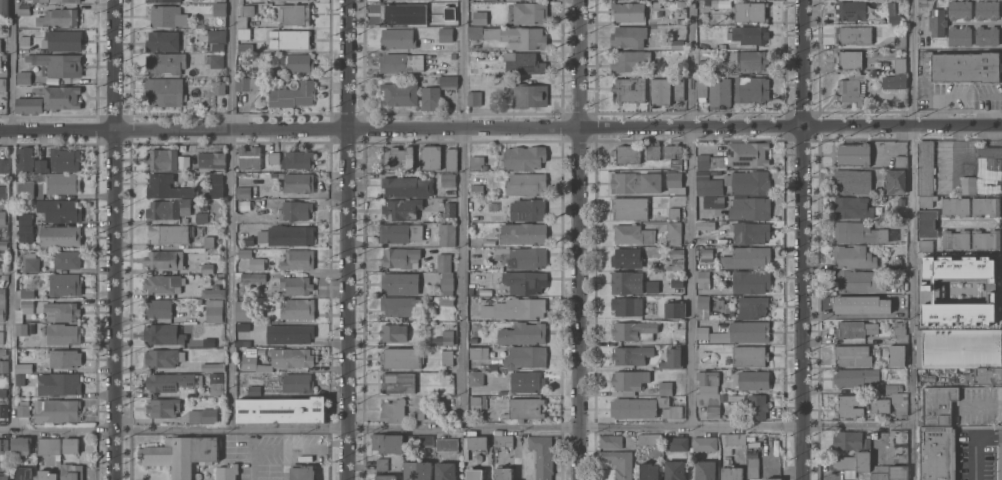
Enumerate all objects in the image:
building: (490, 0)
building: (56, 1)
building: (164, 1)
building: (653, 3)
building: (680, 3)
building: (4, 7)
building: (22, 9)
building: (219, 9)
building: (850, 9)
building: (959, 9)
building: (986, 9)
building: (627, 10)
building: (448, 11)
building: (528, 12)
building: (750, 12)
building: (892, 12)
building: (403, 13)
building: (294, 14)
building: (166, 15)
building: (244, 15)
building: (478, 16)
building: (677, 16)
building: (57, 17)
building: (937, 22)
building: (877, 31)
building: (243, 32)
building: (853, 33)
building: (958, 33)
building: (986, 33)
building: (444, 34)
building: (511, 35)
building: (750, 35)
building: (628, 36)
building: (216, 37)
building: (397, 37)
building: (61, 38)
building: (289, 38)
building: (22, 40)
building: (898, 40)
building: (162, 41)
building: (677, 43)
building: (959, 43)
building: (244, 46)
building: (452, 54)
building: (848, 58)
building: (213, 59)
building: (753, 59)
building: (0, 60)
building: (294, 60)
building: (628, 60)
building: (400, 62)
building: (522, 62)
building: (60, 63)
building: (163, 63)
building: (899, 64)
road: (912, 64)
building: (964, 64)
building: (703, 66)
building: (473, 70)
building: (20, 77)
building: (893, 79)
building: (446, 81)
building: (2, 83)
building: (246, 83)
building: (700, 84)
building: (218, 86)
building: (677, 86)
building: (628, 87)
building: (750, 87)
building: (849, 88)
building: (163, 90)
building: (658, 90)
building: (719, 91)
building: (398, 92)
building: (291, 93)
building: (527, 93)
building: (60, 95)
building: (429, 96)
building: (473, 97)
building: (28, 103)
road: (957, 129)
road: (456, 130)
building: (651, 149)
building: (670, 149)
building: (989, 150)
building: (625, 152)
building: (746, 152)
building: (852, 152)
building: (429, 155)
building: (248, 156)
building: (272, 156)
building: (397, 156)
building: (522, 156)
building: (23, 157)
building: (161, 157)
building: (210, 158)
building: (296, 158)
building: (450, 158)
building: (59, 159)
building: (475, 160)
building: (702, 160)
building: (899, 160)
building: (675, 163)
building: (3, 164)
building: (183, 164)
building: (483, 165)
building: (925, 166)
building: (214, 177)
building: (673, 178)
building: (447, 179)
building: (852, 179)
building: (894, 179)
building: (747, 180)
building: (61, 181)
building: (297, 181)
building: (634, 181)
building: (524, 182)
building: (708, 182)
building: (967, 183)
building: (405, 185)
building: (165, 186)
building: (27, 188)
building: (214, 189)
building: (475, 189)
building: (242, 190)
building: (2, 191)
building: (882, 197)
building: (924, 199)
building: (713, 201)
building: (244, 203)
building: (851, 205)
building: (954, 205)
building: (984, 205)
building: (629, 206)
building: (167, 207)
building: (400, 207)
building: (749, 207)
building: (294, 208)
building: (526, 208)
building: (58, 209)
building: (446, 210)
building: (672, 211)
road: (463, 214)
road: (690, 214)
road: (12, 215)
building: (200, 215)
road: (230, 215)
building: (2, 216)
building: (23, 217)
building: (926, 221)
building: (704, 224)
building: (398, 231)
building: (750, 231)
building: (857, 231)
building: (24, 232)
building: (169, 232)
building: (521, 232)
building: (631, 232)
building: (673, 232)
building: (445, 233)
building: (58, 234)
building: (286, 234)
building: (954, 237)
building: (985, 237)
road: (112, 240)
building: (207, 240)
road: (344, 240)
road: (579, 240)
road: (801, 240)
building: (3, 243)
building: (924, 244)
building: (705, 250)
building: (501, 253)
building: (629, 255)
building: (852, 255)
building: (401, 256)
building: (746, 256)
building: (526, 257)
building: (676, 257)
building: (703, 257)
building: (65, 258)
building: (163, 258)
building: (250, 258)
building: (297, 258)
building: (896, 260)
building: (443, 261)
building: (31, 263)
building: (1, 266)
building: (205, 266)
building: (877, 269)
building: (954, 270)
building: (3, 276)
building: (252, 276)
building: (701, 278)
building: (856, 280)
building: (524, 281)
building: (625, 281)
building: (749, 281)
building: (63, 282)
building: (161, 282)
building: (399, 282)
building: (445, 283)
building: (295, 284)
building: (676, 284)
building: (651, 286)
building: (470, 289)
building: (26, 292)
building: (212, 292)
building: (2, 293)
building: (484, 297)
building: (445, 299)
building: (718, 302)
building: (625, 304)
building: (848, 304)
road: (912, 304)
building: (399, 305)
building: (751, 305)
building: (514, 306)
building: (702, 306)
building: (158, 307)
building: (297, 307)
building: (1, 308)
building: (673, 308)
building: (22, 309)
building: (213, 309)
building: (241, 309)
building: (60, 310)
building: (958, 313)
building: (473, 325)
building: (241, 326)
building: (20, 328)
building: (854, 328)
building: (632, 329)
building: (747, 329)
building: (899, 330)
building: (392, 331)
building: (701, 331)
building: (288, 332)
building: (521, 332)
building: (62, 333)
building: (162, 333)
building: (677, 333)
building: (444, 335)
building: (1, 336)
building: (718, 337)
building: (474, 338)
building: (207, 341)
building: (237, 341)
building: (958, 346)
building: (0, 350)
building: (477, 351)
building: (631, 353)
building: (895, 353)
building: (749, 354)
building: (852, 354)
building: (161, 356)
building: (400, 356)
building: (446, 356)
building: (524, 356)
building: (63, 357)
building: (672, 357)
building: (278, 358)
building: (3, 364)
building: (211, 366)
building: (501, 366)
building: (23, 367)
building: (854, 375)
building: (985, 375)
building: (219, 376)
building: (475, 377)
building: (18, 378)
building: (630, 378)
building: (751, 378)
building: (171, 380)
building: (526, 380)
building: (706, 380)
building: (297, 381)
building: (396, 381)
building: (57, 383)
building: (215, 386)
building: (664, 387)
building: (893, 387)
building: (241, 388)
building: (253, 389)
building: (2, 391)
building: (714, 399)
building: (899, 401)
building: (938, 403)
building: (475, 404)
building: (848, 404)
building: (879, 404)
building: (756, 405)
building: (162, 406)
building: (633, 406)
building: (2, 407)
building: (22, 407)
building: (524, 407)
building: (280, 408)
building: (56, 409)
building: (391, 409)
building: (671, 410)
building: (713, 411)
building: (419, 412)
building: (202, 414)
road: (456, 429)
building: (735, 437)
building: (648, 438)
building: (417, 439)
building: (849, 439)
building: (502, 440)
building: (609, 440)
building: (897, 440)
building: (386, 441)
building: (674, 442)
building: (703, 442)
building: (3, 443)
building: (19, 443)
building: (446, 443)
building: (473, 443)
building: (69, 444)
building: (47, 445)
road: (301, 448)
building: (936, 452)
building: (180, 453)
building: (541, 455)
building: (476, 456)
road: (251, 461)
building: (618, 462)
building: (380, 463)
building: (854, 463)
building: (751, 466)
building: (22, 468)
building: (417, 469)
building: (673, 469)
building: (704, 469)
building: (444, 470)
building: (648, 470)
building: (71, 471)
building: (226, 471)
building: (301, 471)
building: (503, 472)
building: (880, 472)
building: (897, 472)
building: (3, 473)
building: (473, 473)
building: (731, 473)
building: (45, 474)
building: (385, 476)
building: (773, 478)

